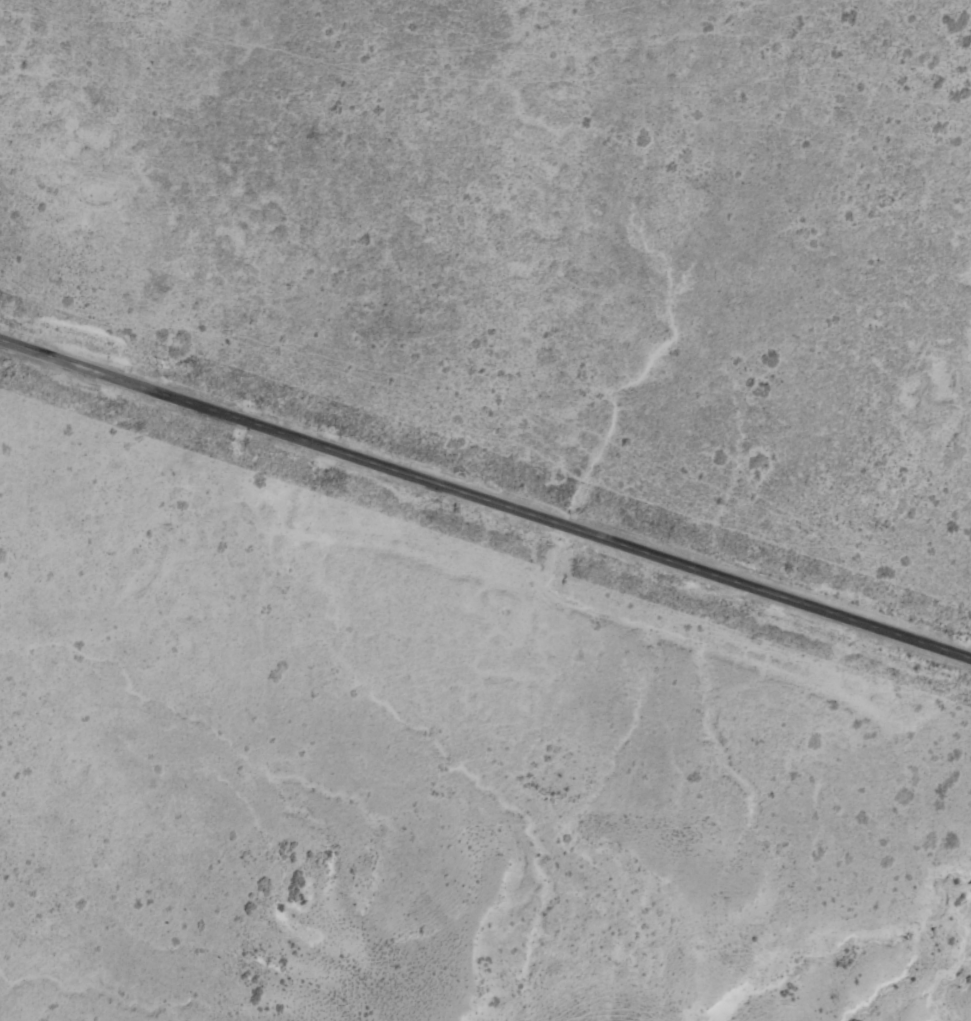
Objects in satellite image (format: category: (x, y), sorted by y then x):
road: (485, 496)

